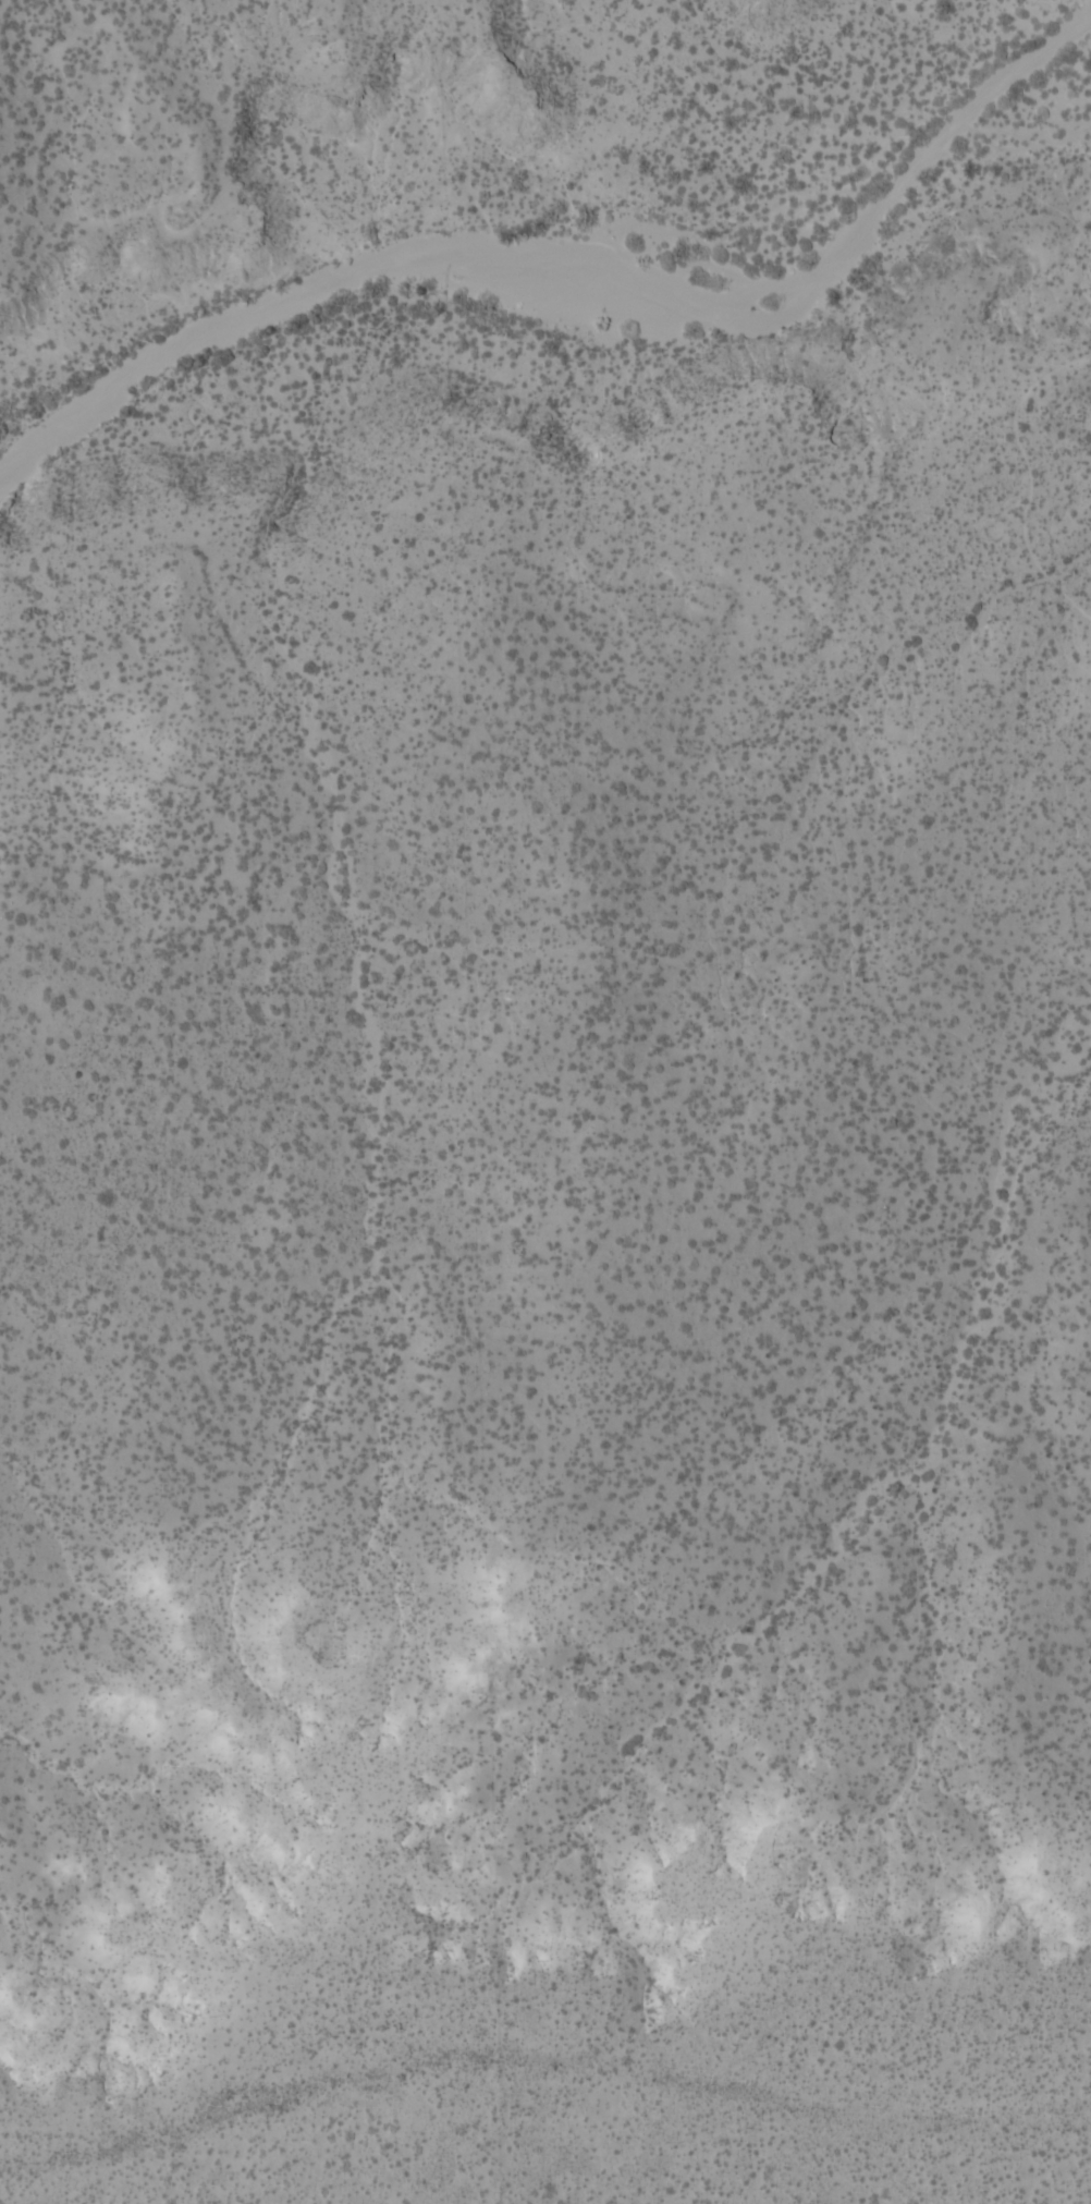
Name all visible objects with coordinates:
road: (109, 31)
road: (150, 149)
road: (88, 156)
road: (218, 157)
road: (157, 202)

